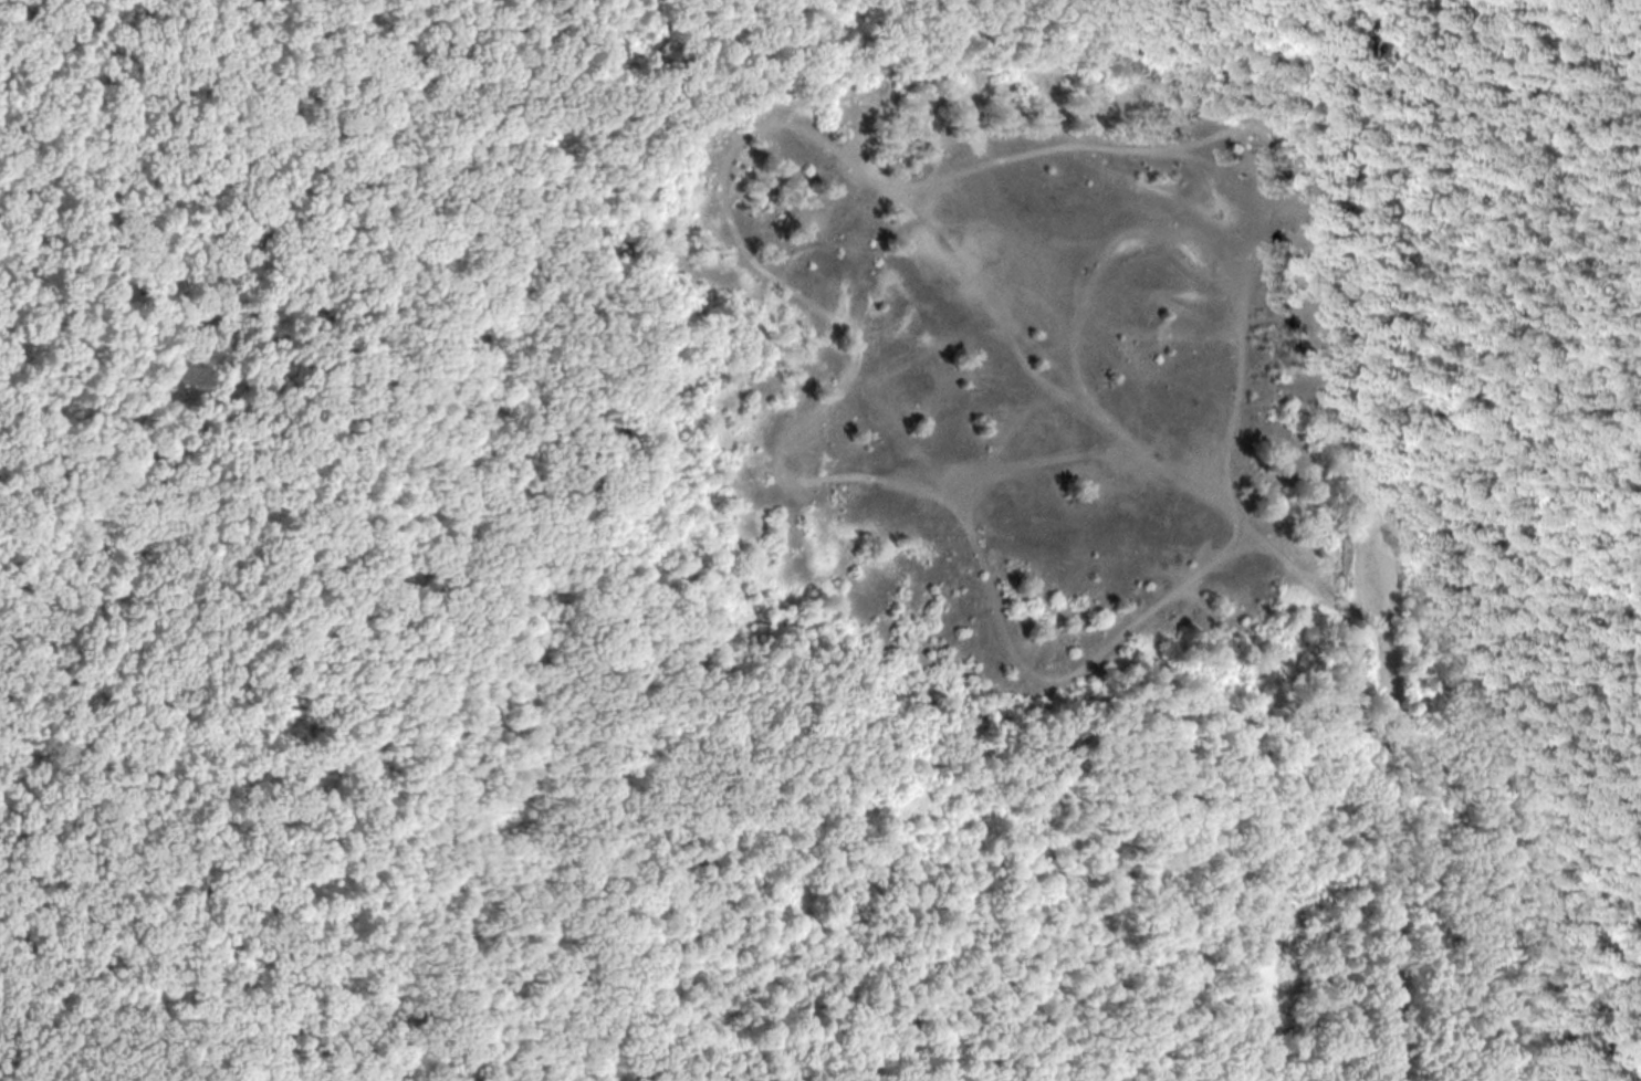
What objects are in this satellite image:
road: (1125, 138)
road: (766, 245)
road: (1097, 251)
road: (1377, 261)
quarry: (1013, 357)
park: (815, 536)
road: (414, 798)
road: (1392, 800)
road: (108, 1060)

